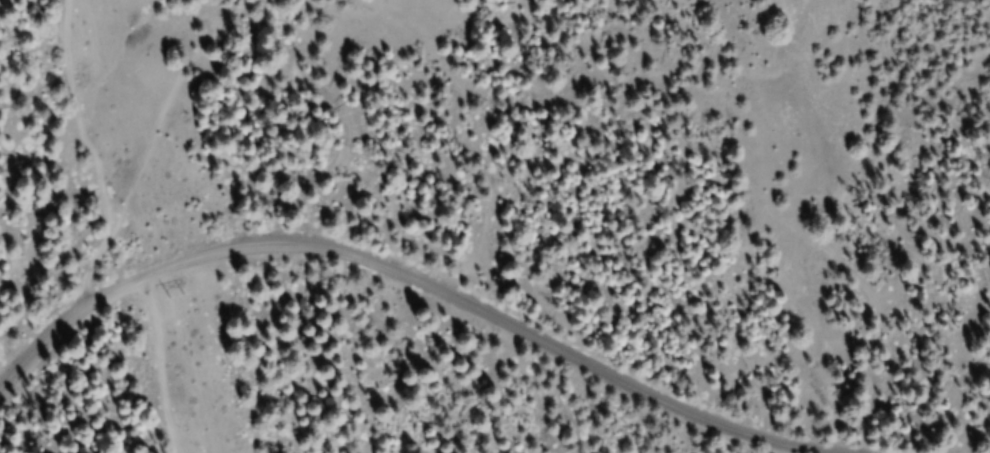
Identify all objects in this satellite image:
power tower: (167, 295)
road: (368, 303)

